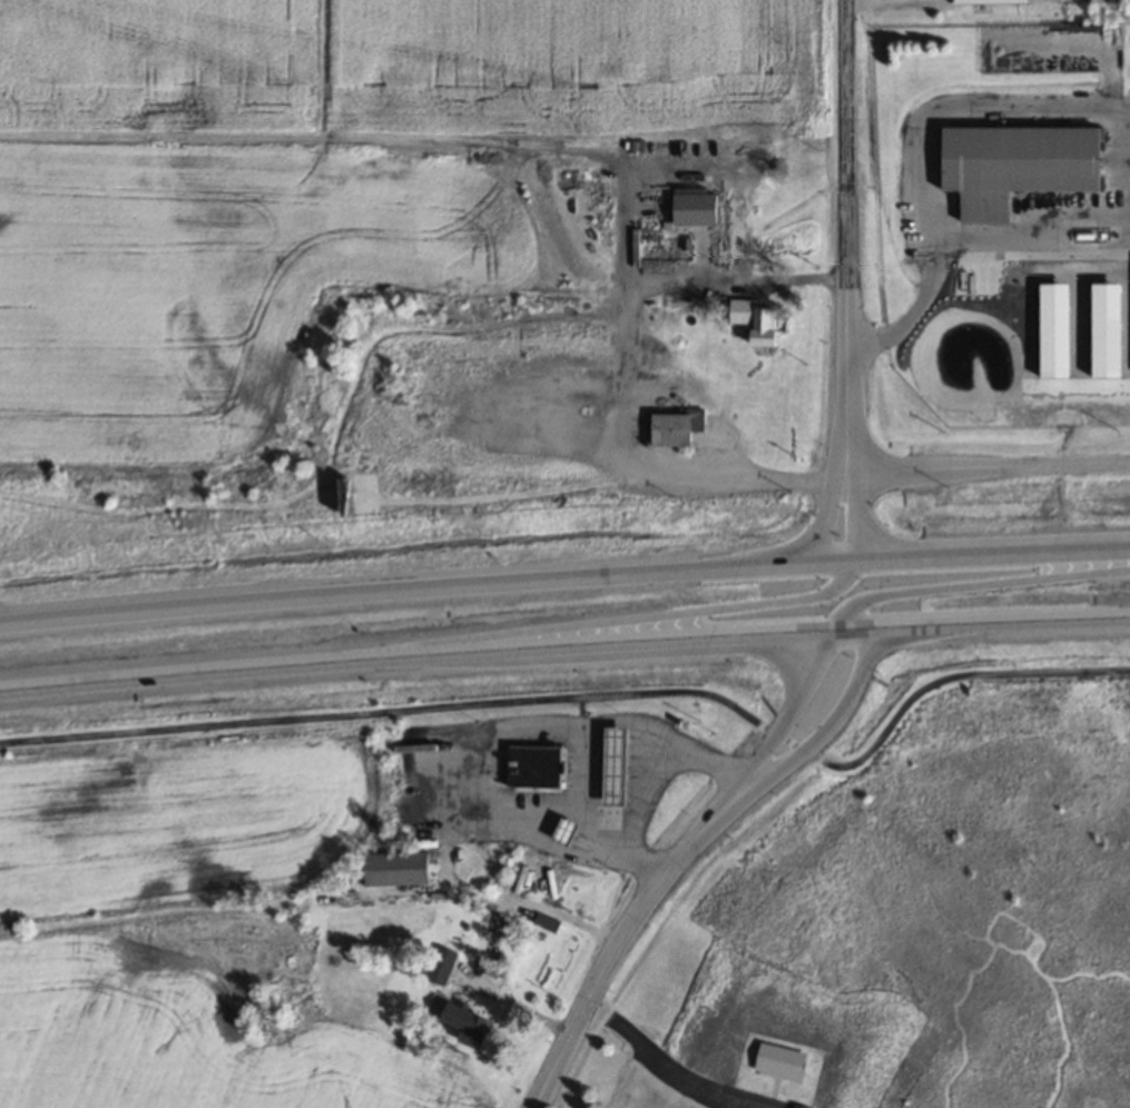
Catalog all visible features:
building: (996, 1)
building: (1024, 165)
road: (955, 233)
road: (846, 235)
building: (759, 320)
road: (625, 372)
building: (679, 427)
road: (989, 467)
road: (823, 514)
road: (858, 514)
road: (969, 557)
road: (976, 585)
road: (403, 595)
road: (596, 616)
road: (983, 624)
road: (417, 655)
road: (592, 693)
road: (794, 703)
road: (831, 716)
building: (621, 751)
building: (537, 764)
road: (652, 779)
building: (570, 829)
road: (444, 854)
building: (400, 867)
crop: (200, 930)
road: (626, 930)
building: (474, 1025)
road: (658, 1060)
road: (669, 1094)
building: (804, 1105)

